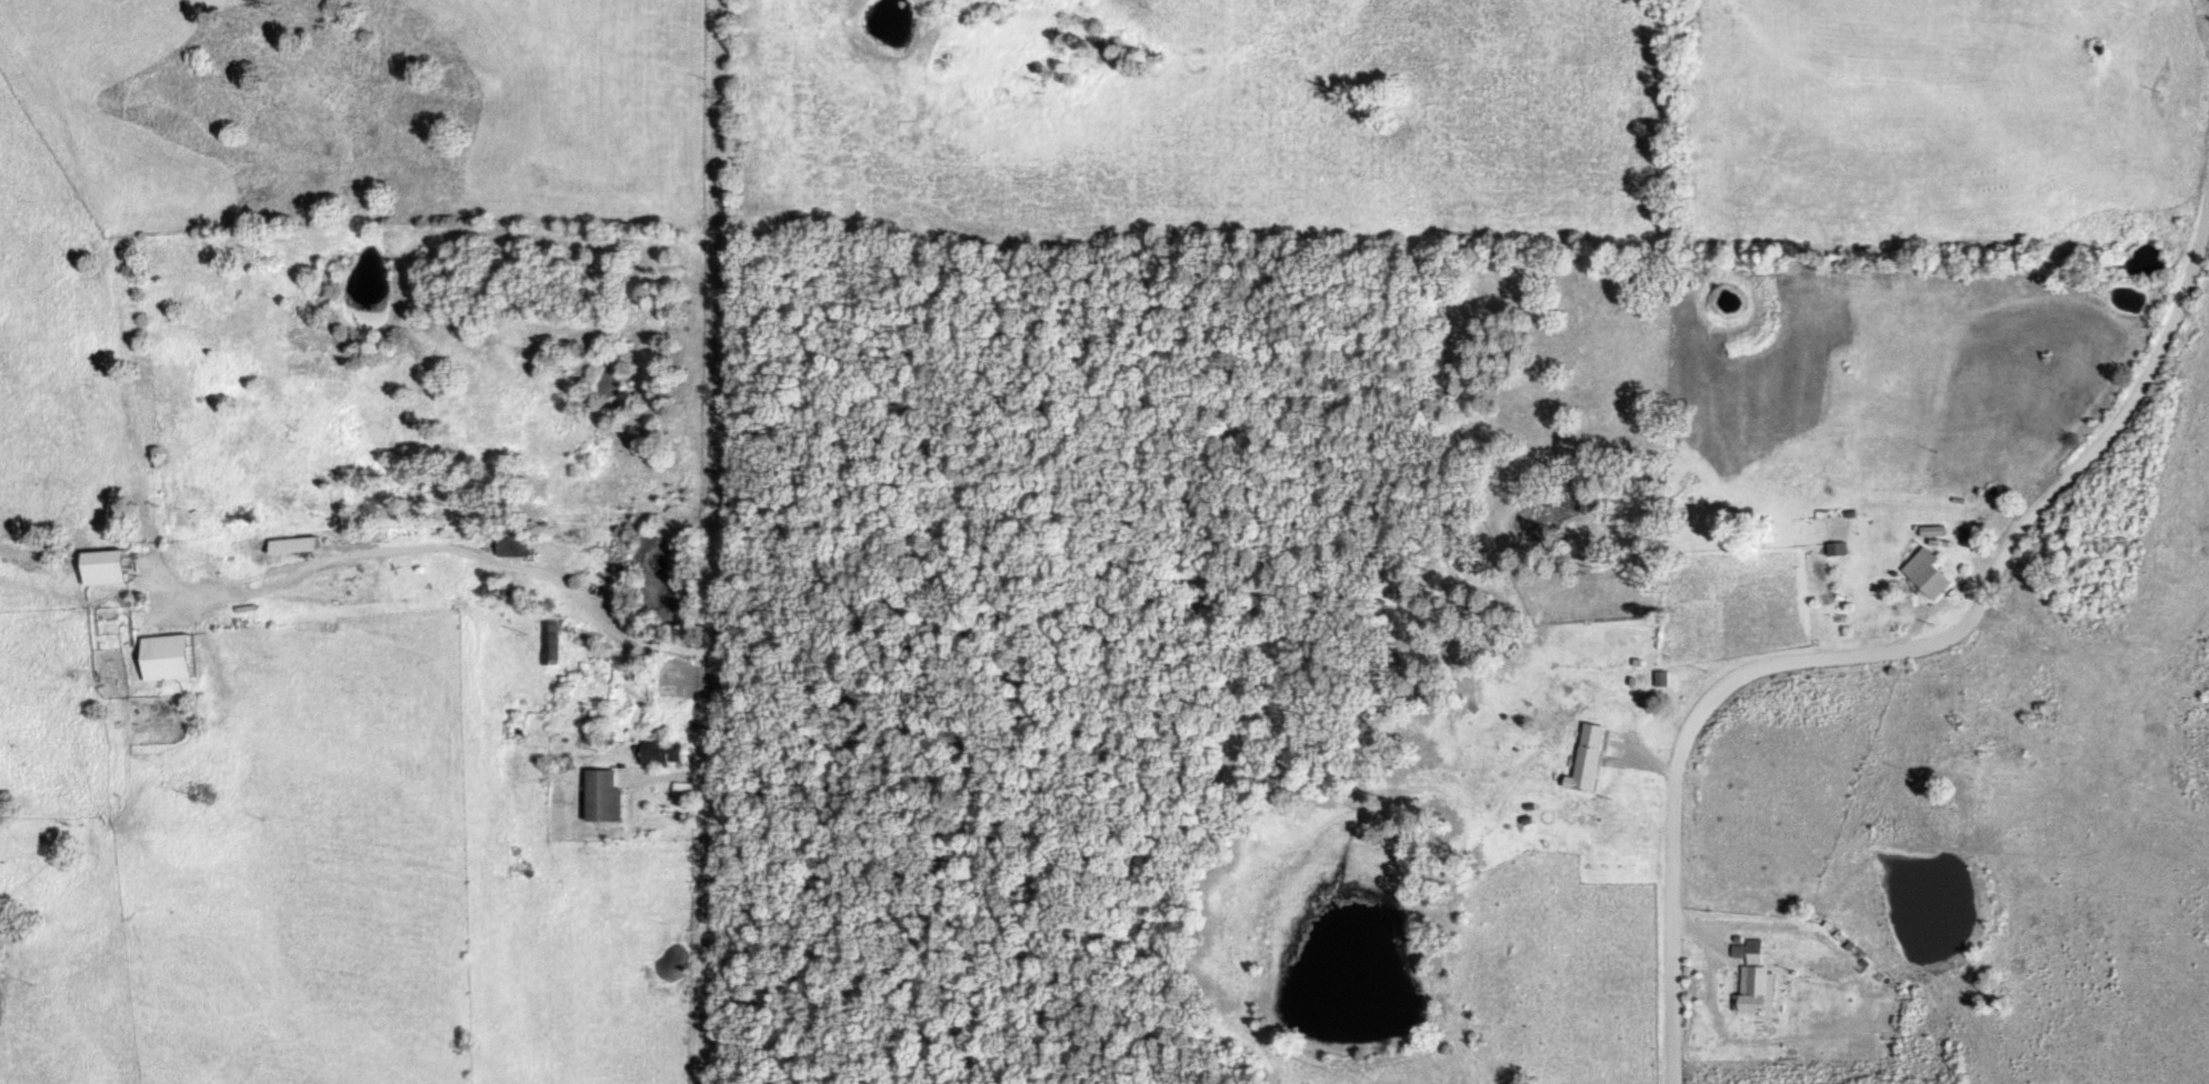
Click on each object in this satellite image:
road: (718, 541)
building: (298, 545)
building: (518, 546)
building: (1848, 549)
road: (483, 559)
building: (111, 568)
building: (1939, 573)
road: (1888, 640)
building: (172, 658)
building: (668, 754)
building: (1598, 759)
building: (689, 790)
building: (611, 797)
building: (1761, 980)

